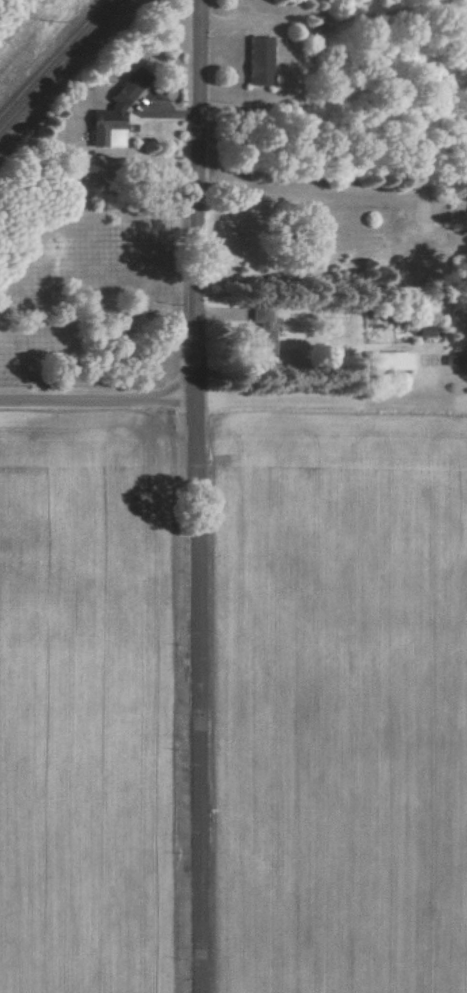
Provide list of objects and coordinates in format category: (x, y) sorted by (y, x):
railway: (52, 56)
building: (260, 61)
railway: (59, 64)
building: (266, 332)
road: (101, 399)
road: (202, 496)

